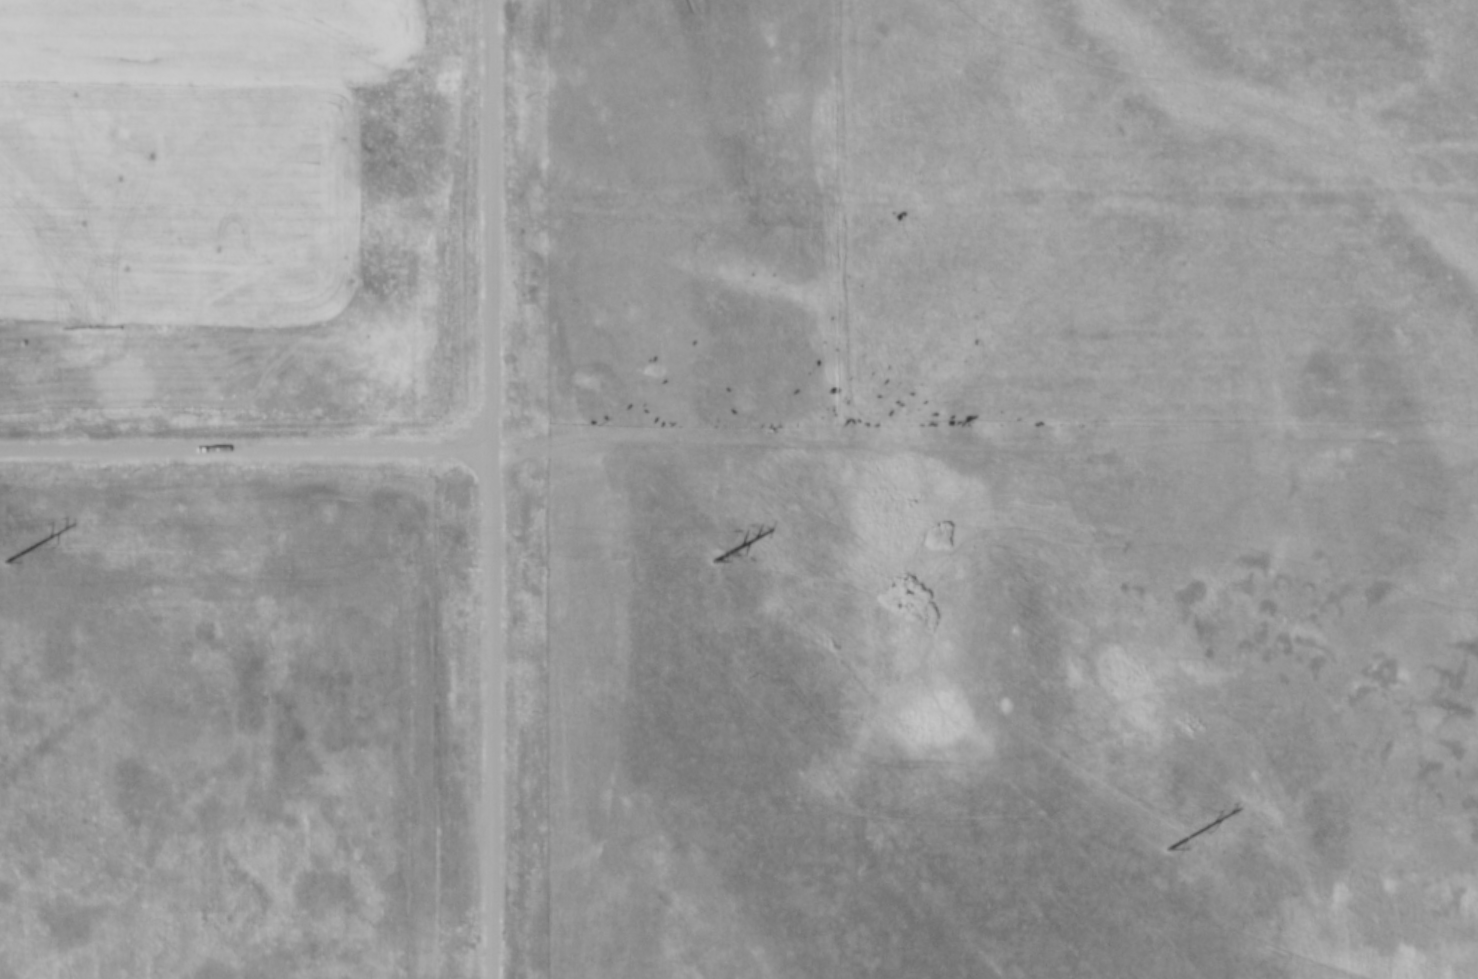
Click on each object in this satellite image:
road: (488, 226)
road: (245, 452)
power tower: (4, 557)
power tower: (710, 559)
road: (493, 715)
power tower: (1170, 845)

